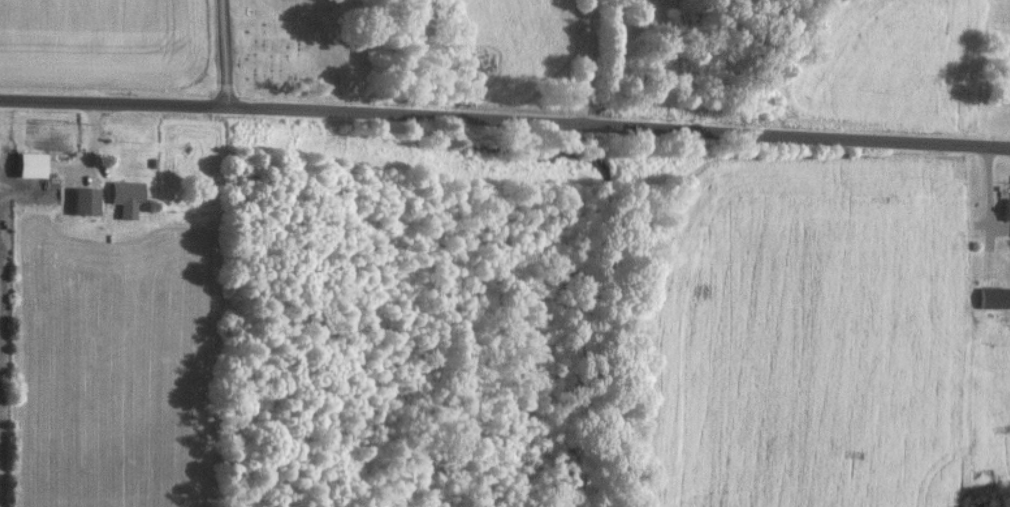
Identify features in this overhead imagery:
road: (226, 51)
road: (593, 60)
road: (505, 113)
building: (32, 164)
building: (127, 196)
building: (86, 200)
building: (1004, 209)
building: (990, 297)

